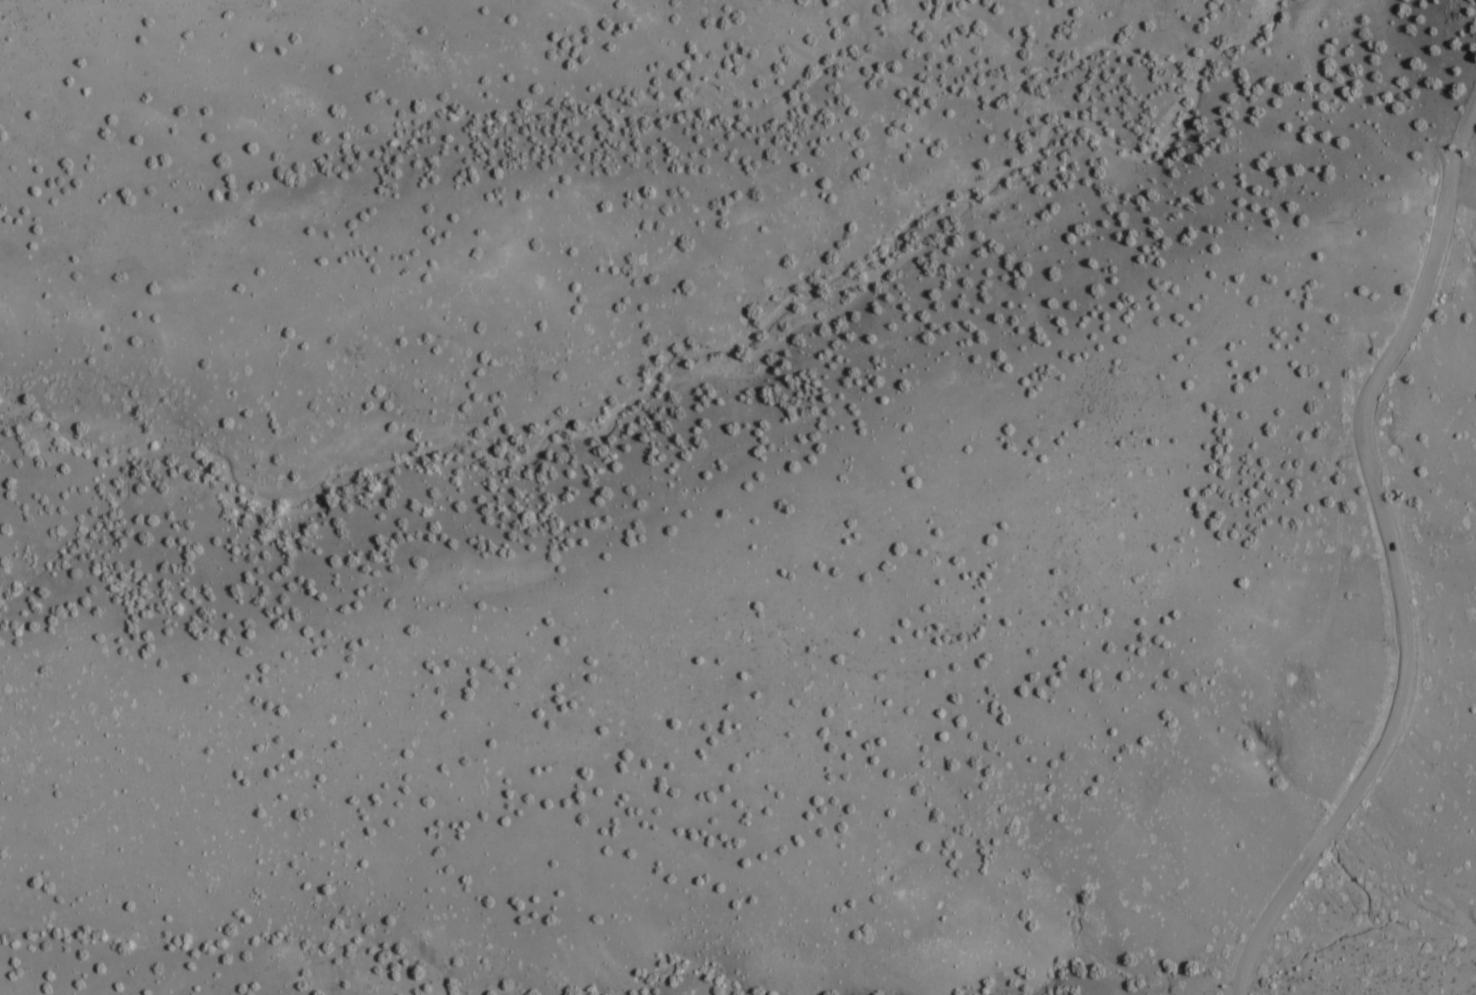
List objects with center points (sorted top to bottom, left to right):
road: (1366, 114)
road: (1400, 571)

